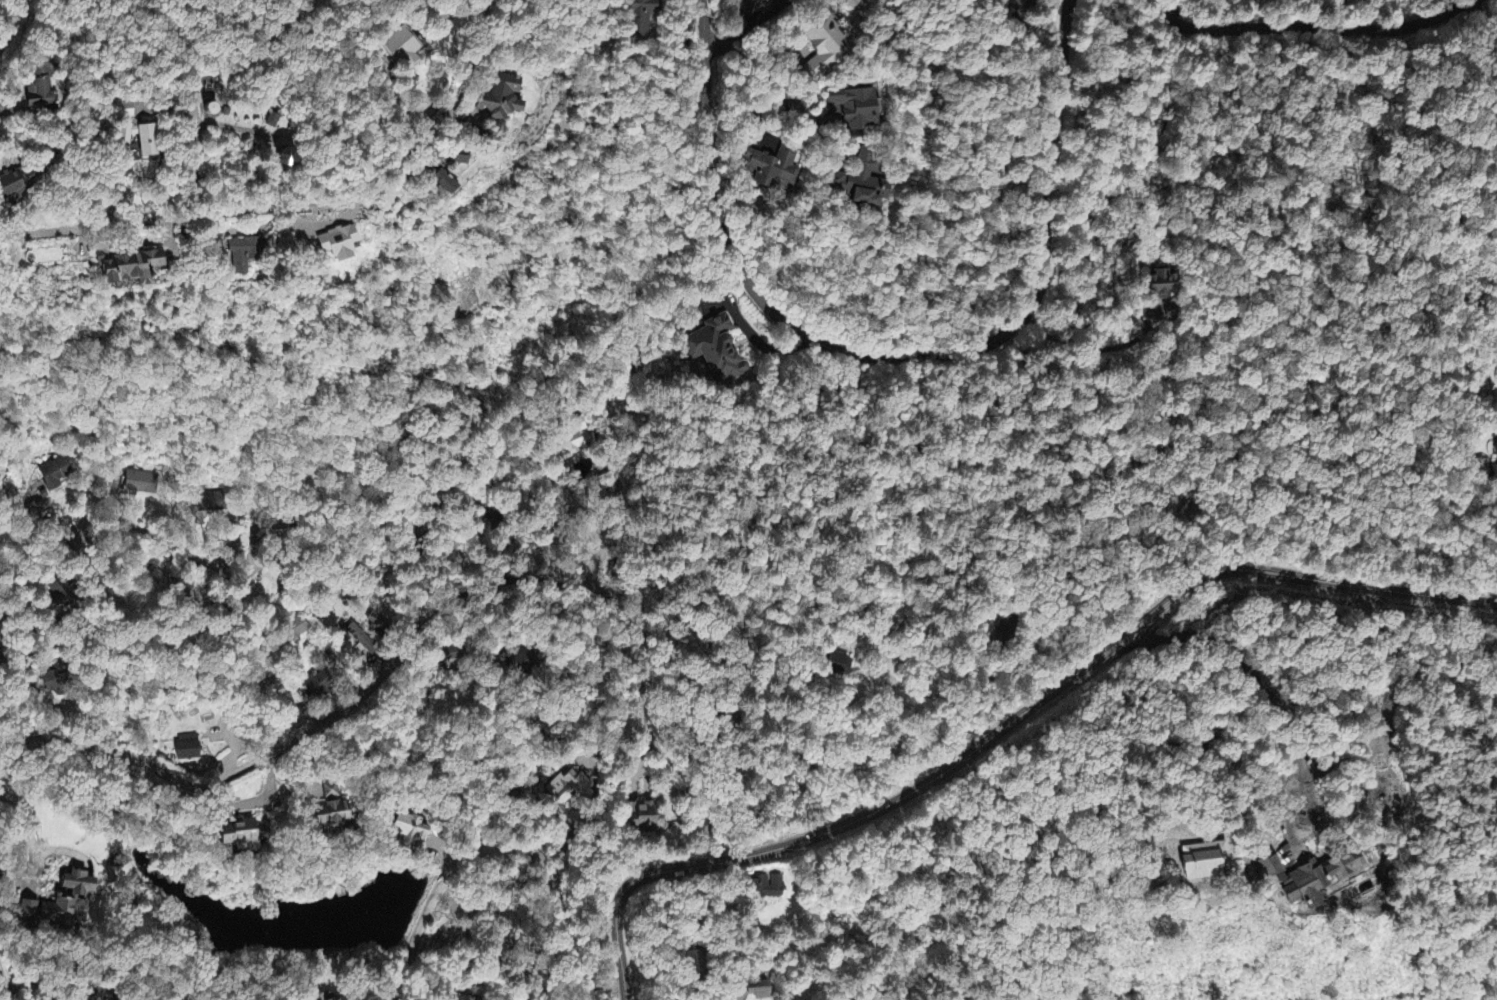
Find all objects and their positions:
building: (761, 3)
building: (638, 18)
road: (11, 23)
road: (1308, 27)
building: (825, 48)
building: (403, 50)
building: (42, 90)
building: (502, 100)
building: (855, 109)
building: (215, 112)
building: (139, 135)
road: (735, 156)
building: (461, 159)
building: (771, 169)
building: (860, 183)
building: (445, 185)
building: (19, 187)
road: (300, 206)
building: (340, 245)
building: (244, 256)
building: (132, 269)
building: (1159, 285)
park: (468, 294)
road: (883, 335)
building: (714, 351)
building: (1494, 470)
building: (55, 476)
building: (141, 485)
building: (607, 486)
building: (209, 506)
road: (37, 522)
road: (78, 545)
building: (64, 596)
road: (423, 615)
building: (298, 629)
building: (1006, 631)
building: (362, 641)
building: (449, 656)
building: (522, 663)
building: (839, 666)
building: (56, 682)
building: (317, 686)
road: (1011, 723)
building: (188, 749)
building: (569, 789)
building: (334, 813)
building: (644, 818)
building: (410, 832)
building: (243, 837)
road: (505, 847)
building: (1325, 880)
building: (767, 888)
building: (70, 901)
building: (30, 911)
road: (4, 988)
building: (758, 992)
building: (325, 997)
building: (345, 999)

